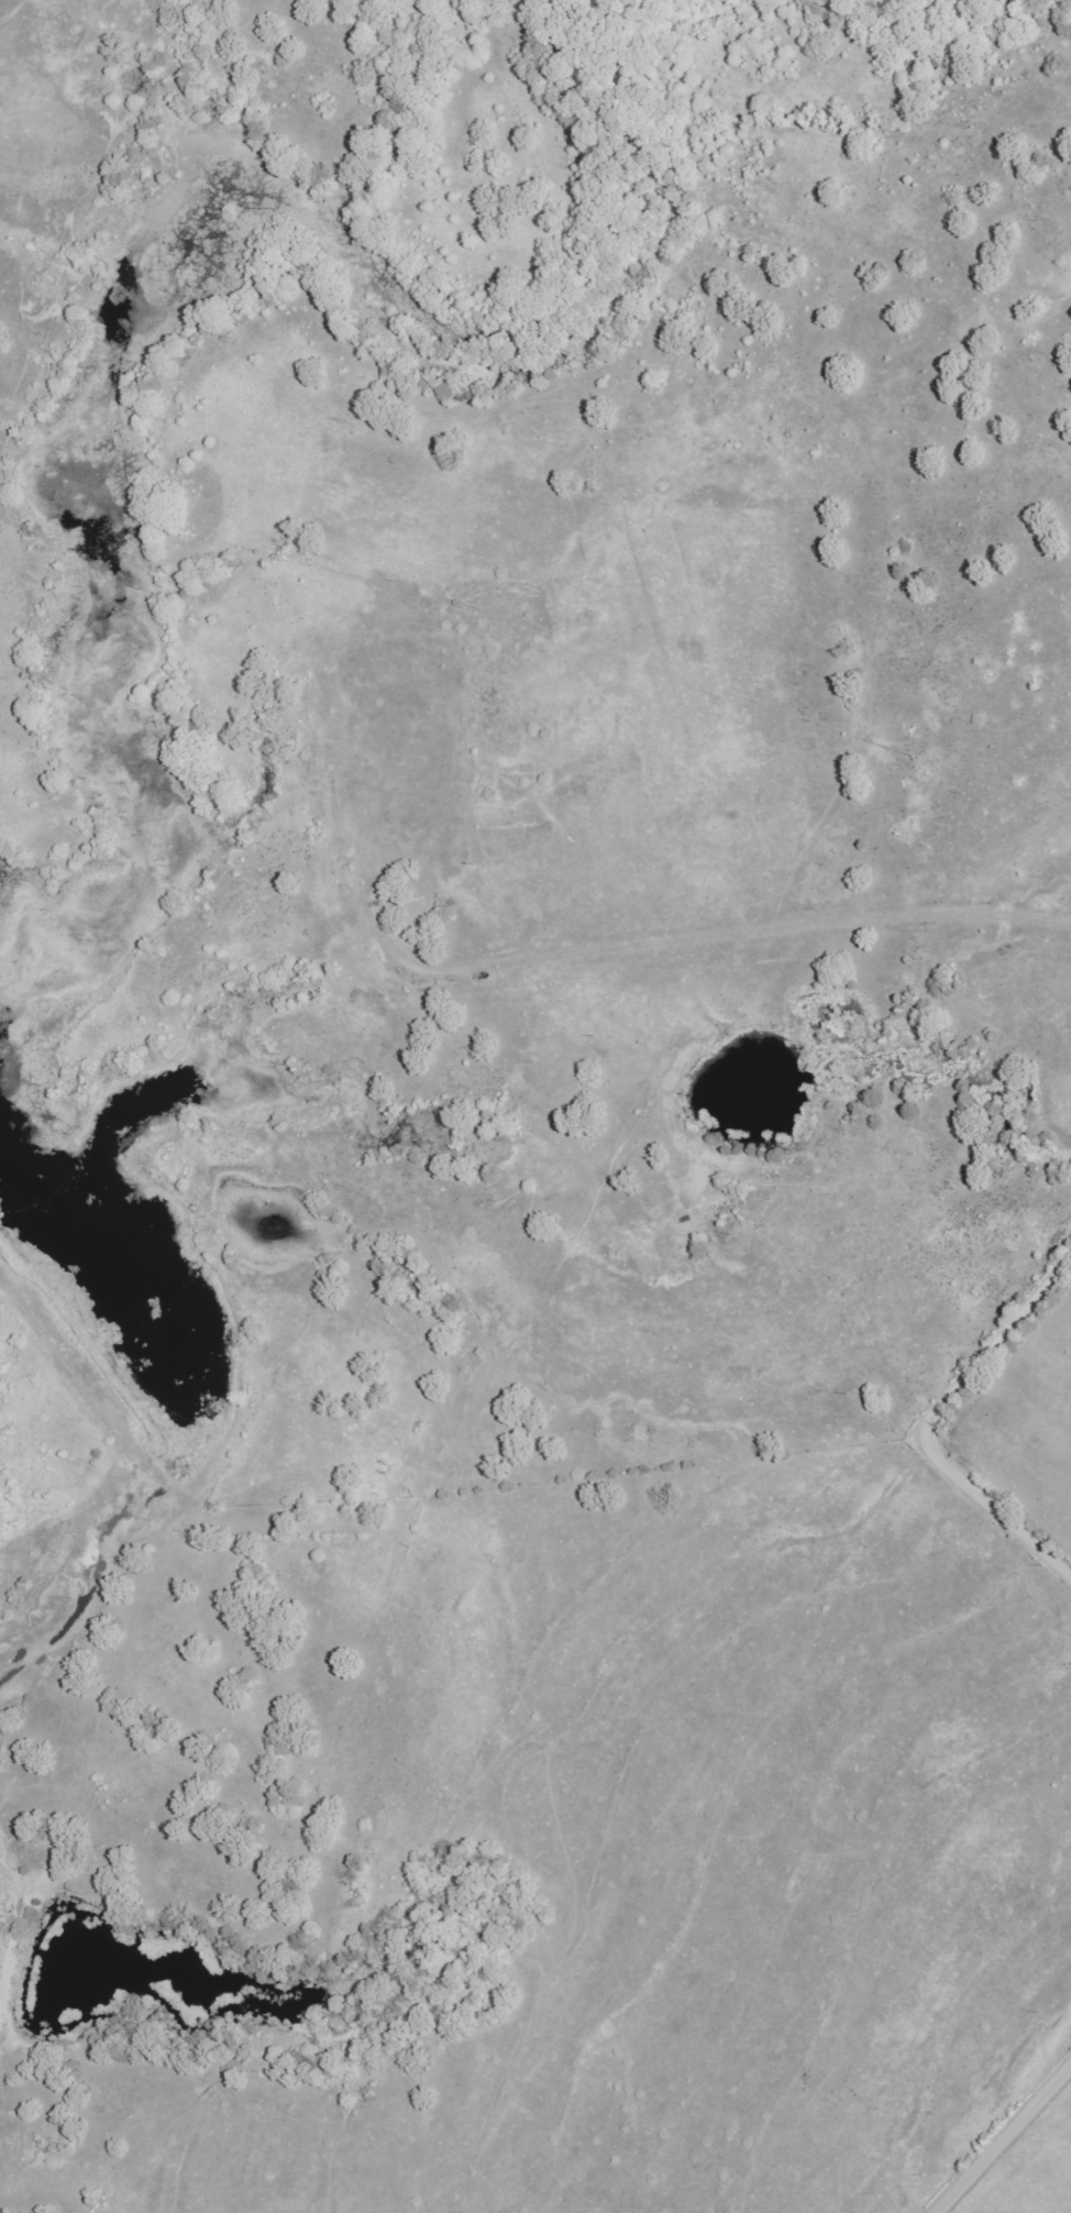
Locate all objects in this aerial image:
road: (931, 1417)
road: (710, 1480)
road: (1002, 2136)

